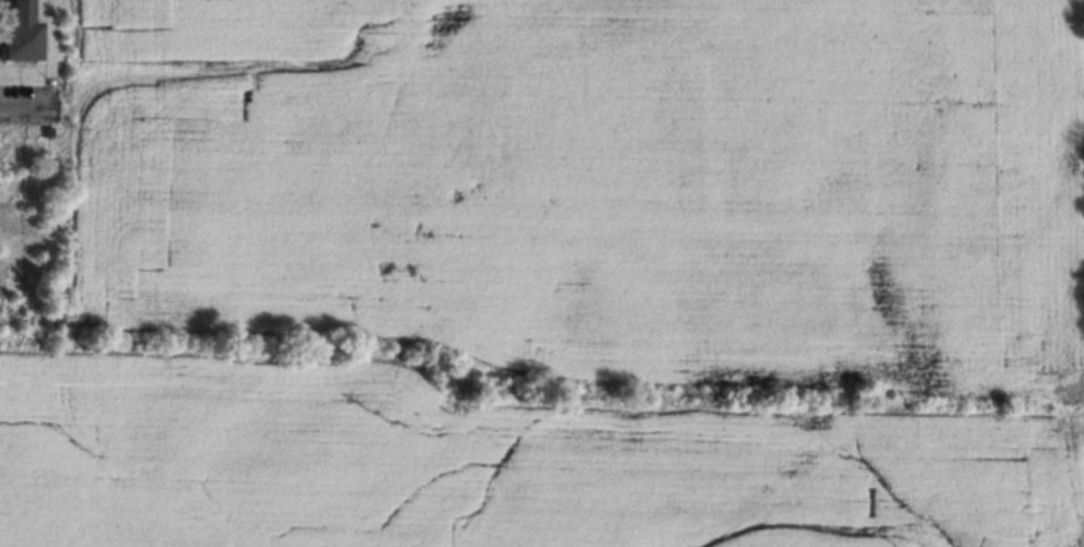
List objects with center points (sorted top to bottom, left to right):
building: (19, 33)
road: (16, 107)
building: (48, 132)

